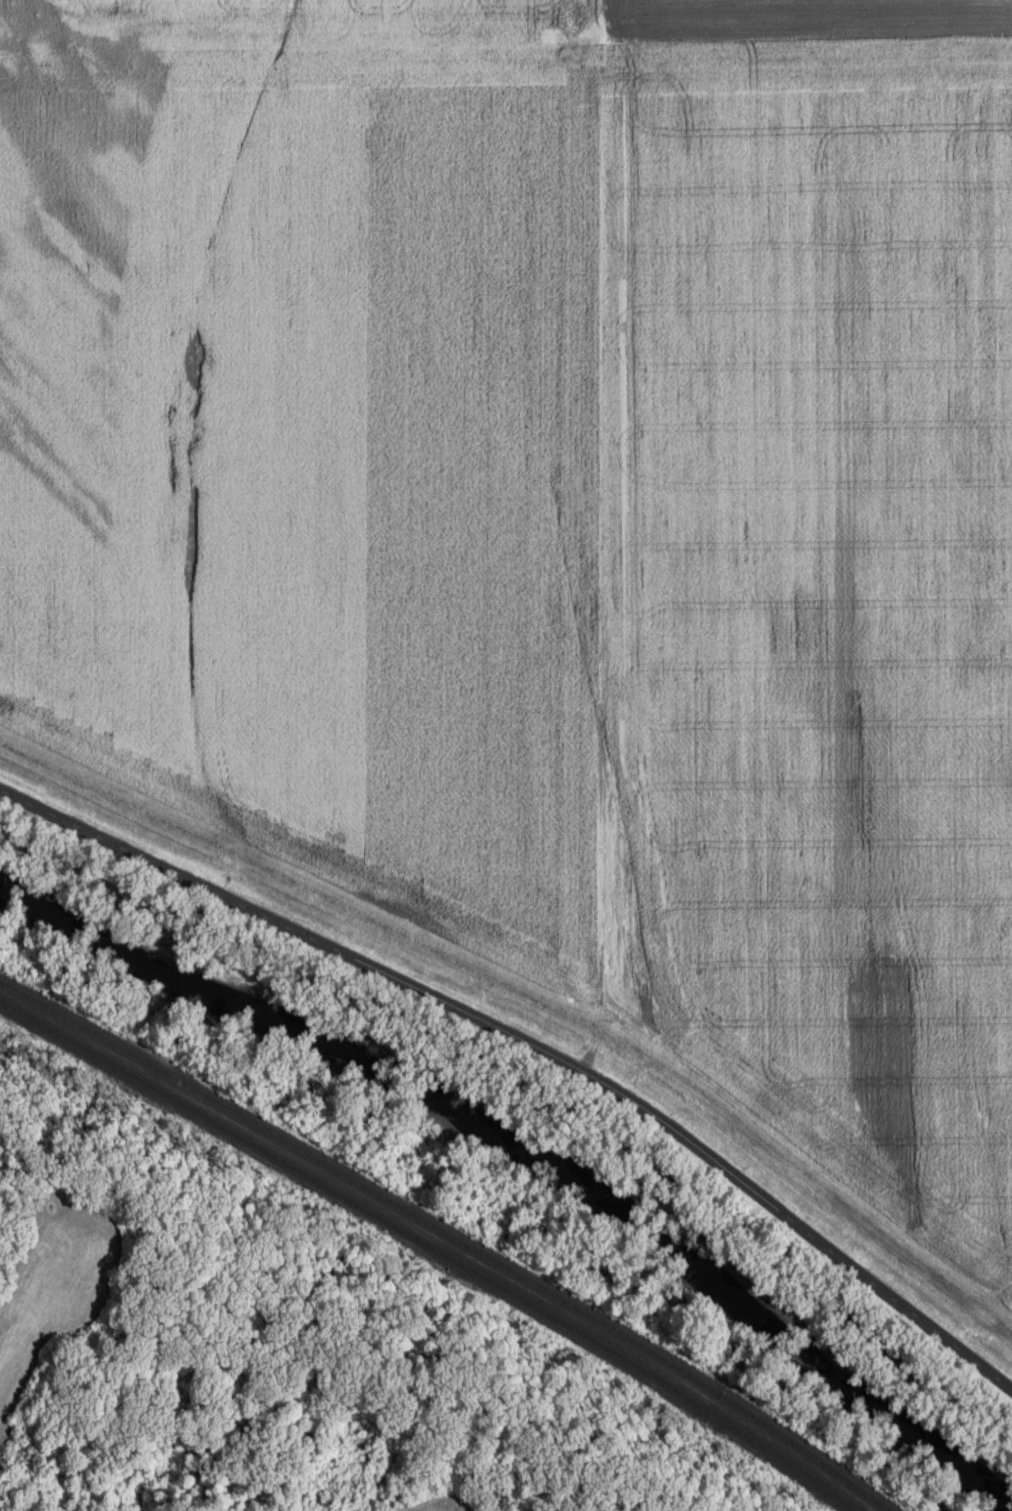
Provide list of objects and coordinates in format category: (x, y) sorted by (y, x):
crop: (811, 21)
crop: (318, 434)
crop: (817, 609)
road: (533, 1048)
river: (528, 1136)
railway: (447, 1239)
railway: (430, 1250)

